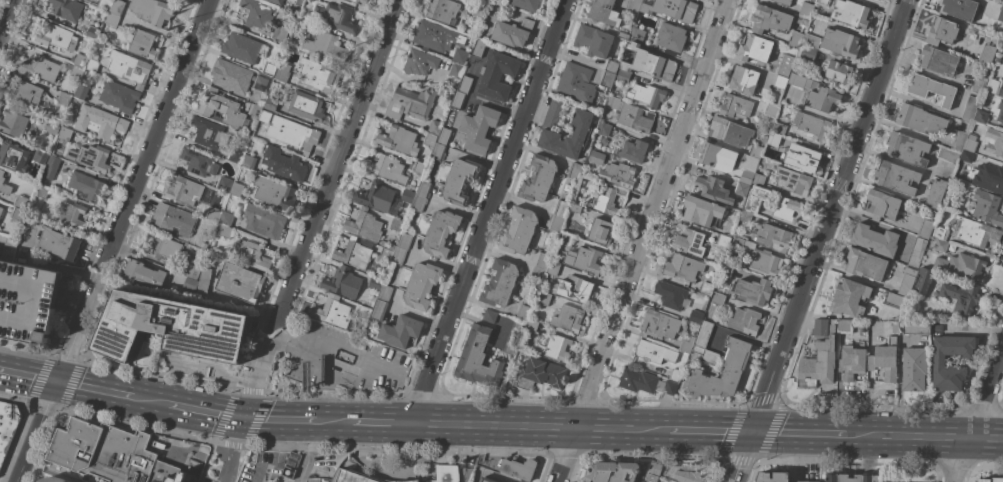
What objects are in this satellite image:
building: (315, 1)
building: (823, 1)
building: (276, 2)
building: (299, 2)
building: (360, 2)
building: (783, 2)
building: (1002, 2)
building: (105, 4)
building: (528, 4)
building: (117, 7)
building: (958, 8)
building: (66, 9)
building: (633, 9)
building: (673, 9)
building: (442, 10)
building: (806, 10)
building: (152, 11)
building: (604, 12)
building: (255, 13)
building: (850, 13)
building: (1000, 14)
road: (6, 16)
building: (335, 16)
building: (112, 19)
building: (770, 19)
building: (300, 22)
building: (941, 31)
building: (93, 32)
building: (281, 32)
building: (513, 32)
building: (623, 35)
building: (637, 35)
building: (56, 37)
building: (671, 37)
building: (440, 39)
building: (796, 39)
building: (811, 40)
building: (593, 41)
building: (142, 43)
building: (840, 43)
building: (242, 47)
building: (326, 47)
building: (478, 48)
building: (755, 48)
building: (808, 53)
building: (987, 53)
building: (81, 60)
building: (938, 60)
building: (419, 62)
building: (612, 63)
building: (649, 63)
building: (1002, 63)
building: (785, 64)
building: (123, 67)
building: (39, 68)
building: (269, 69)
building: (455, 69)
building: (836, 70)
building: (76, 71)
building: (282, 72)
building: (318, 75)
building: (231, 76)
building: (497, 76)
building: (622, 76)
building: (607, 80)
building: (744, 80)
building: (779, 81)
building: (802, 82)
building: (260, 83)
building: (577, 83)
building: (465, 84)
building: (979, 84)
building: (994, 87)
building: (931, 88)
building: (83, 89)
building: (24, 94)
building: (647, 95)
building: (118, 96)
building: (62, 99)
building: (822, 99)
building: (458, 100)
building: (410, 103)
building: (270, 104)
building: (306, 106)
building: (736, 106)
building: (221, 109)
building: (254, 109)
building: (970, 109)
building: (771, 110)
building: (1000, 111)
building: (630, 115)
building: (264, 116)
building: (982, 116)
building: (919, 119)
building: (99, 122)
building: (13, 123)
building: (812, 125)
building: (435, 127)
building: (580, 127)
building: (52, 128)
building: (479, 128)
building: (779, 128)
building: (603, 129)
building: (729, 131)
road: (154, 133)
building: (293, 133)
building: (64, 134)
building: (210, 134)
building: (445, 136)
building: (774, 138)
building: (397, 139)
building: (430, 139)
building: (763, 140)
building: (959, 142)
building: (994, 142)
building: (971, 143)
building: (907, 148)
building: (633, 150)
building: (438, 151)
building: (756, 151)
building: (949, 154)
building: (236, 156)
building: (967, 156)
building: (40, 157)
building: (596, 157)
building: (719, 157)
building: (13, 158)
building: (94, 158)
building: (806, 160)
building: (197, 161)
building: (248, 161)
road: (337, 161)
building: (284, 164)
building: (51, 167)
building: (387, 168)
building: (418, 168)
building: (748, 169)
building: (575, 171)
building: (618, 174)
building: (897, 177)
building: (989, 177)
building: (538, 179)
building: (759, 179)
building: (793, 180)
building: (460, 181)
building: (4, 184)
building: (224, 184)
building: (86, 185)
building: (709, 186)
building: (237, 187)
building: (741, 188)
building: (424, 189)
building: (184, 190)
building: (41, 191)
building: (7, 193)
building: (274, 193)
building: (935, 193)
building: (376, 196)
building: (408, 196)
building: (756, 198)
building: (608, 200)
building: (21, 201)
building: (419, 204)
building: (883, 205)
building: (987, 207)
building: (561, 208)
building: (574, 208)
building: (786, 208)
building: (1, 209)
road: (488, 210)
building: (702, 211)
building: (17, 214)
building: (216, 214)
building: (71, 215)
building: (28, 216)
building: (746, 216)
building: (173, 219)
building: (264, 221)
building: (555, 223)
building: (394, 224)
building: (364, 225)
building: (219, 226)
building: (925, 227)
building: (225, 231)
building: (519, 231)
building: (601, 231)
building: (441, 233)
building: (941, 233)
building: (978, 234)
building: (774, 237)
building: (564, 239)
building: (875, 239)
building: (405, 241)
road: (642, 241)
building: (723, 241)
road: (821, 241)
building: (690, 242)
building: (58, 244)
building: (203, 245)
building: (940, 245)
building: (163, 247)
building: (8, 249)
building: (917, 252)
building: (354, 253)
building: (385, 254)
building: (250, 255)
building: (399, 256)
building: (760, 258)
building: (584, 259)
building: (542, 261)
building: (716, 262)
building: (865, 264)
road: (49, 266)
building: (962, 266)
building: (683, 267)
building: (553, 268)
building: (726, 268)
road: (99, 271)
building: (192, 272)
building: (143, 274)
building: (537, 275)
building: (923, 280)
building: (906, 281)
building: (240, 282)
building: (342, 282)
building: (203, 283)
building: (375, 283)
building: (500, 283)
building: (421, 285)
building: (706, 288)
building: (574, 289)
building: (755, 290)
building: (385, 293)
building: (670, 294)
building: (849, 297)
building: (543, 298)
building: (718, 299)
building: (960, 299)
building: (894, 300)
building: (26, 301)
parking lot: (26, 301)
building: (379, 310)
building: (332, 311)
building: (364, 312)
building: (523, 313)
building: (490, 316)
building: (695, 316)
building: (568, 318)
building: (745, 321)
building: (658, 324)
building: (845, 326)
building: (170, 327)
building: (531, 327)
building: (895, 327)
building: (916, 327)
road: (76, 328)
building: (819, 328)
building: (937, 328)
road: (975, 330)
building: (401, 331)
building: (514, 336)
building: (701, 337)
road: (293, 343)
road: (25, 345)
building: (686, 345)
building: (554, 348)
road: (357, 350)
building: (146, 351)
building: (654, 351)
building: (736, 351)
building: (709, 357)
building: (478, 359)
building: (885, 360)
building: (851, 362)
building: (938, 362)
building: (818, 364)
building: (913, 369)
building: (540, 374)
building: (675, 374)
road: (27, 375)
traffic signals: (55, 381)
building: (714, 381)
road: (256, 382)
building: (644, 382)
road: (94, 390)
road: (14, 399)
building: (932, 401)
road: (153, 402)
road: (58, 410)
road: (207, 412)
road: (977, 413)
building: (5, 417)
traffic signals: (243, 419)
road: (281, 419)
road: (447, 422)
road: (619, 428)
road: (34, 431)
road: (707, 431)
traffic signals: (752, 432)
road: (801, 433)
building: (9, 434)
road: (926, 436)
road: (230, 450)
building: (202, 451)
road: (307, 451)
building: (110, 454)
building: (655, 468)
building: (518, 469)
building: (685, 471)
building: (612, 472)
building: (198, 473)
building: (446, 473)
building: (357, 477)
building: (772, 477)
building: (852, 478)
building: (54, 479)
building: (486, 479)
building: (650, 479)
building: (318, 480)
building: (983, 480)
building: (808, 481)

